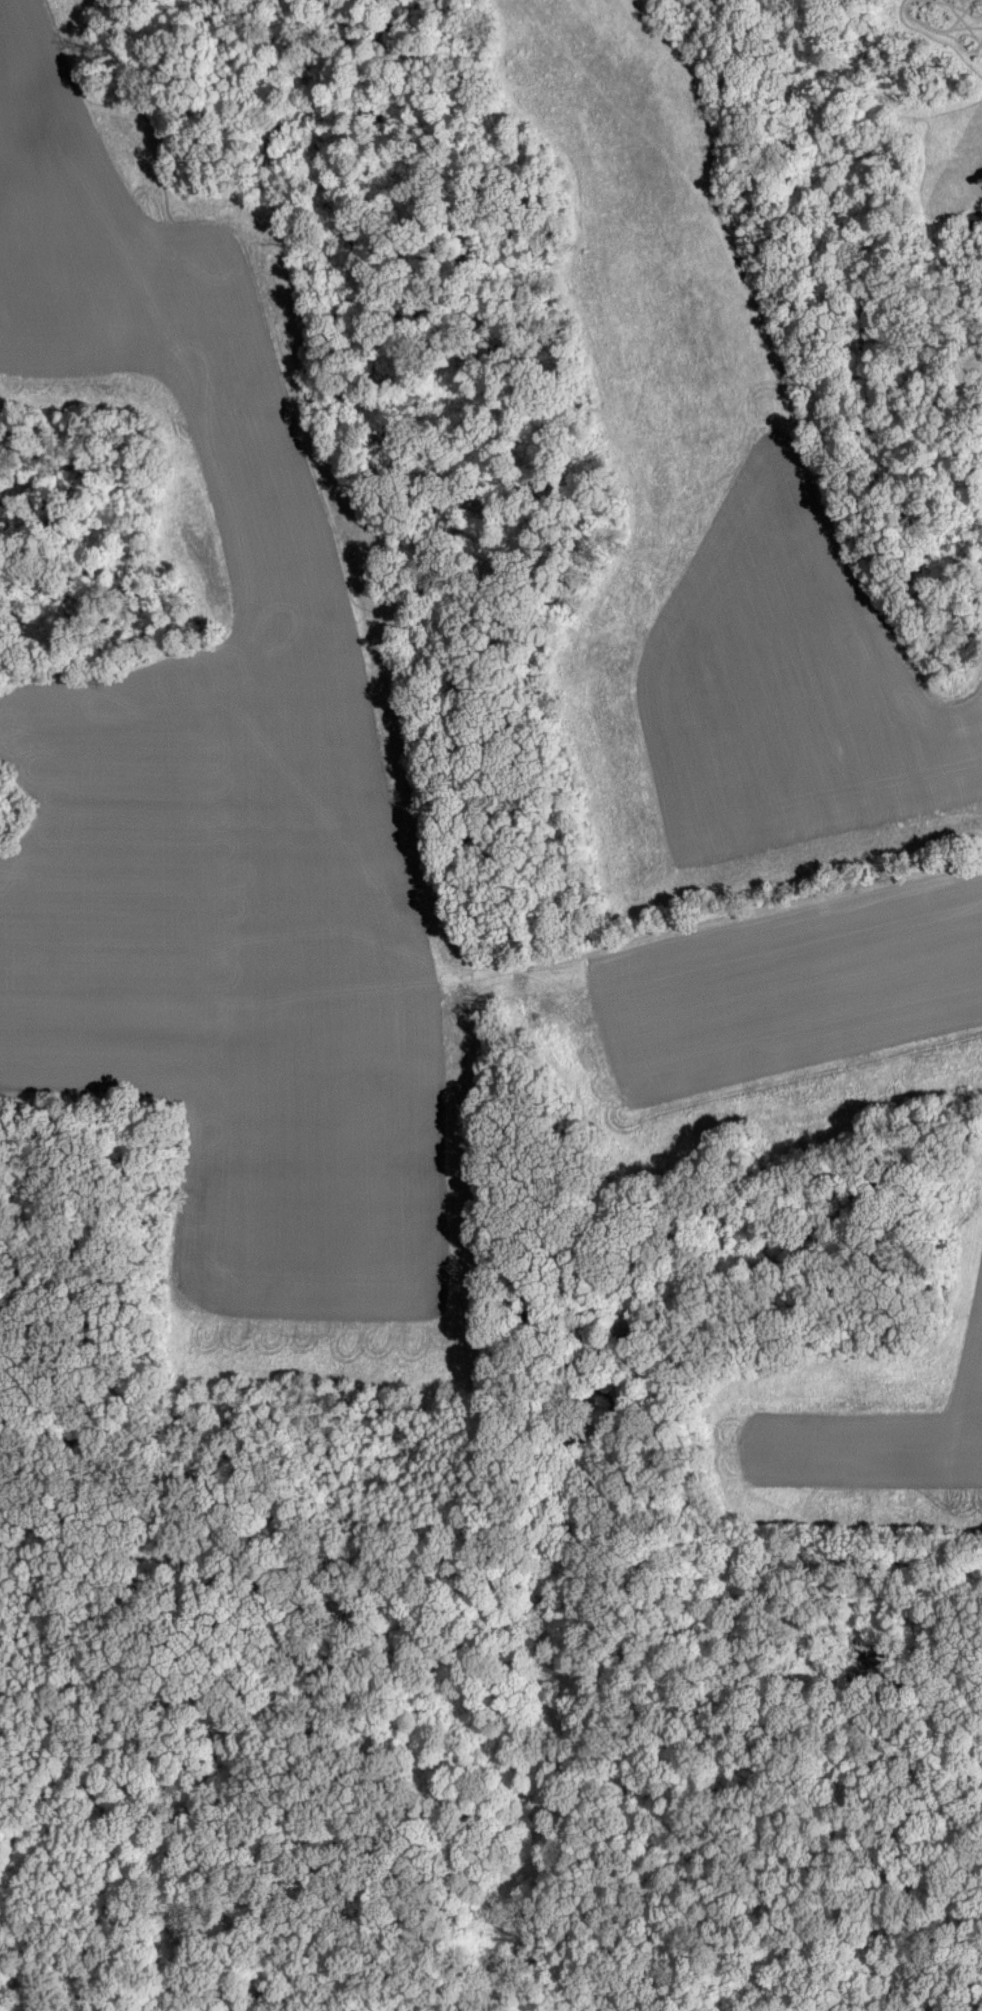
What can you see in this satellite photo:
building: (978, 178)

